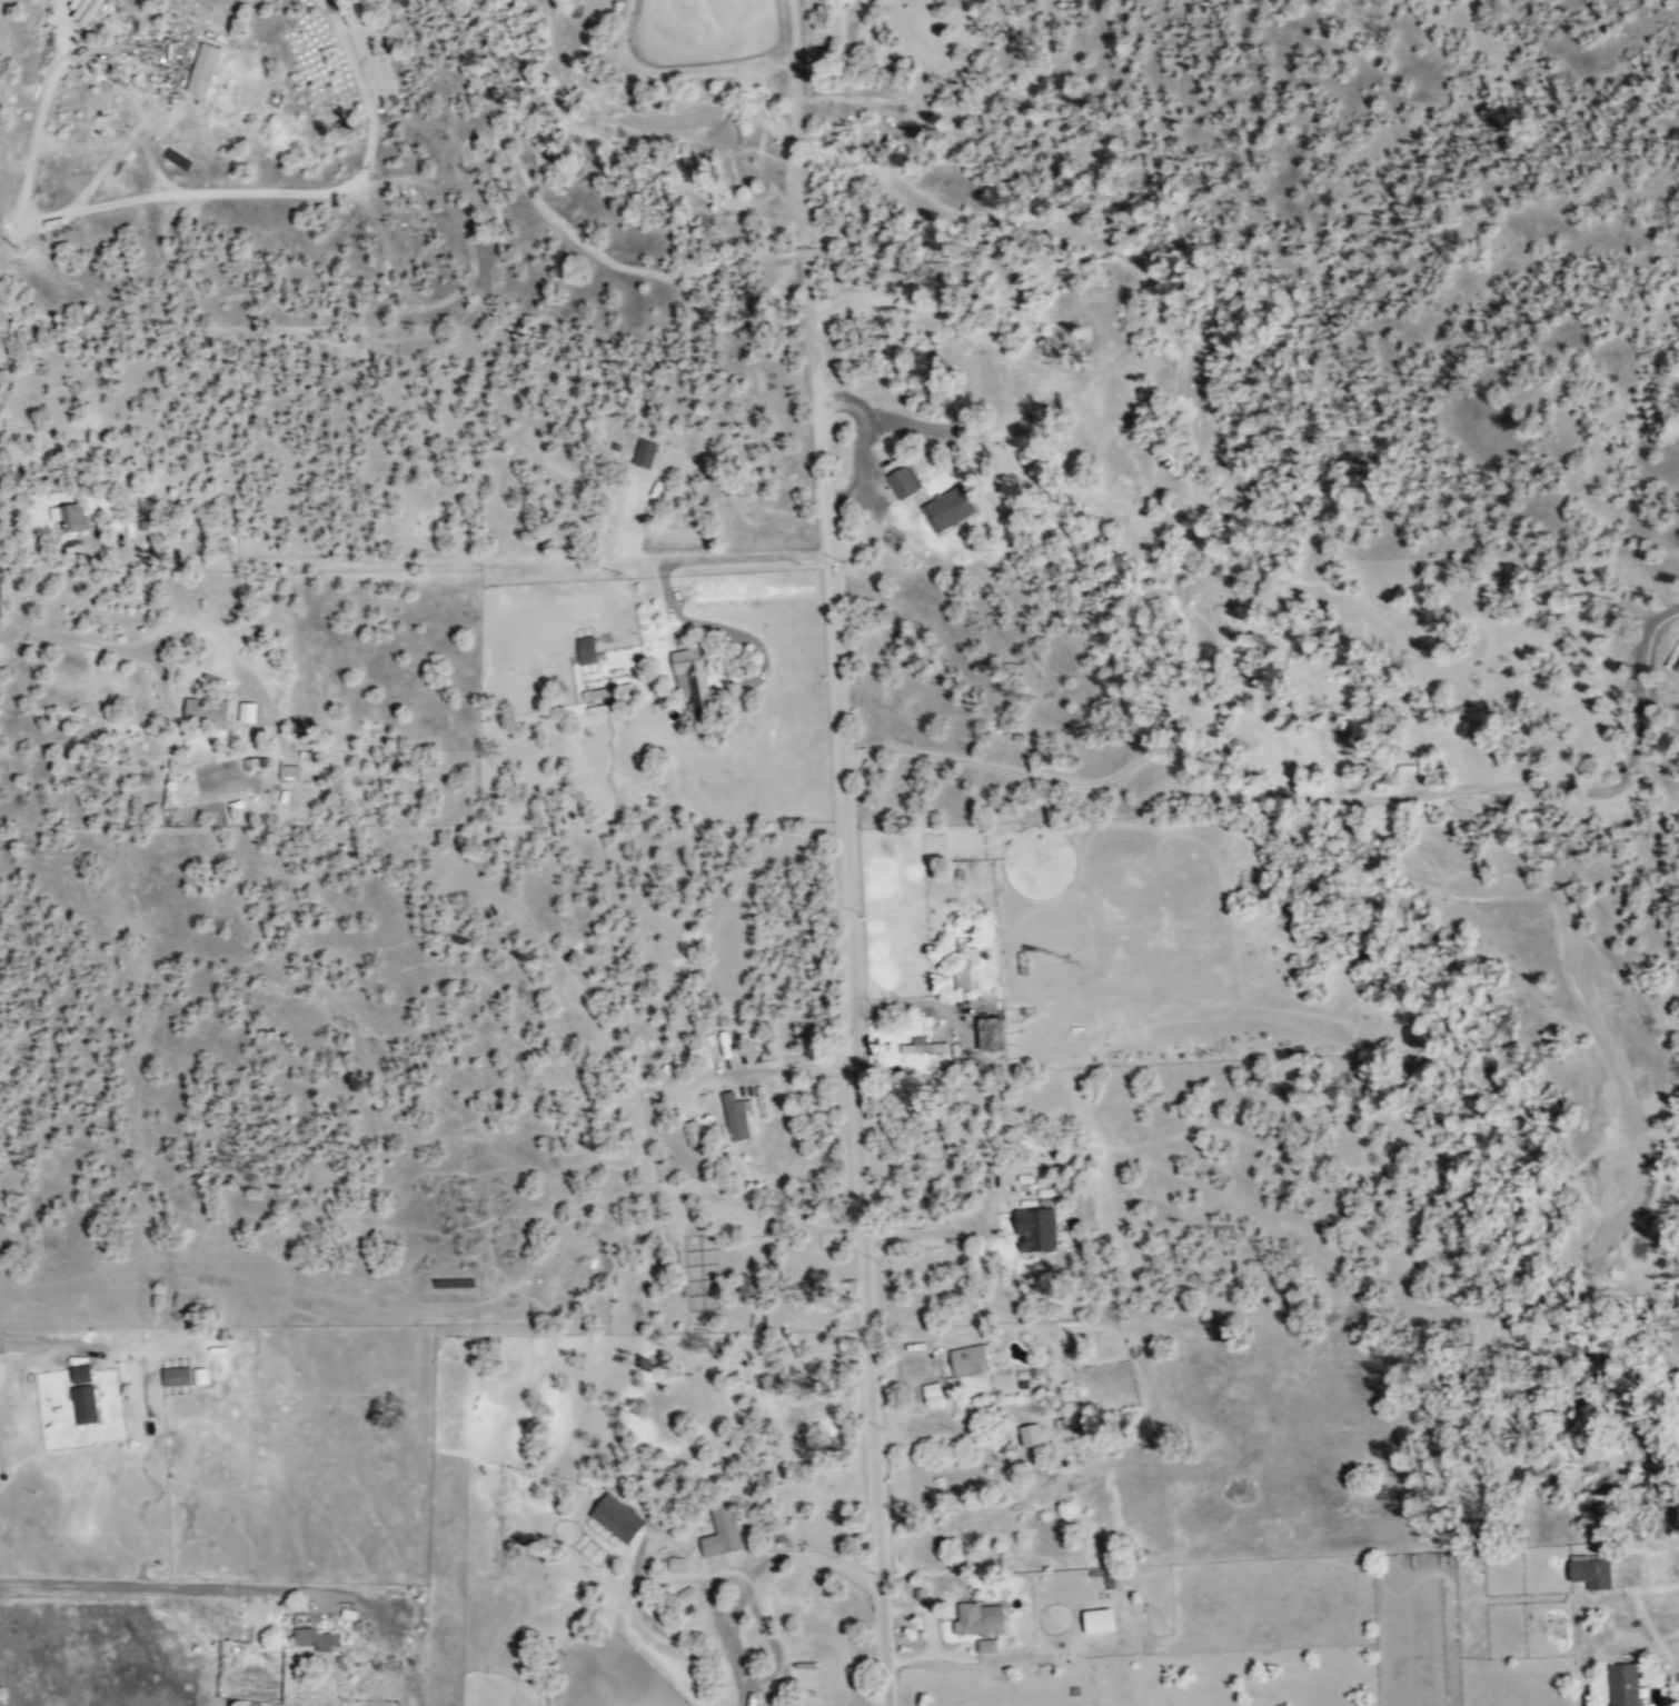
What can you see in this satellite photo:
road: (1, 39)
building: (205, 68)
road: (799, 122)
road: (817, 400)
building: (646, 452)
building: (1032, 453)
building: (905, 481)
building: (951, 508)
building: (70, 516)
road: (91, 645)
building: (587, 649)
building: (696, 678)
building: (209, 709)
building: (257, 762)
building: (290, 771)
building: (966, 966)
building: (995, 1034)
building: (925, 1046)
building: (738, 1116)
road: (855, 1130)
building: (695, 1134)
building: (1037, 1229)
road: (927, 1231)
building: (971, 1359)
building: (82, 1373)
building: (176, 1375)
building: (933, 1390)
building: (87, 1403)
building: (1032, 1434)
building: (618, 1517)
building: (724, 1532)
road: (803, 1555)
building: (677, 1563)
building: (1588, 1569)
road: (1601, 1595)
building: (982, 1617)
building: (1101, 1619)
building: (318, 1638)
building: (987, 1644)
road: (1583, 1679)
building: (1621, 1684)
building: (762, 1705)

